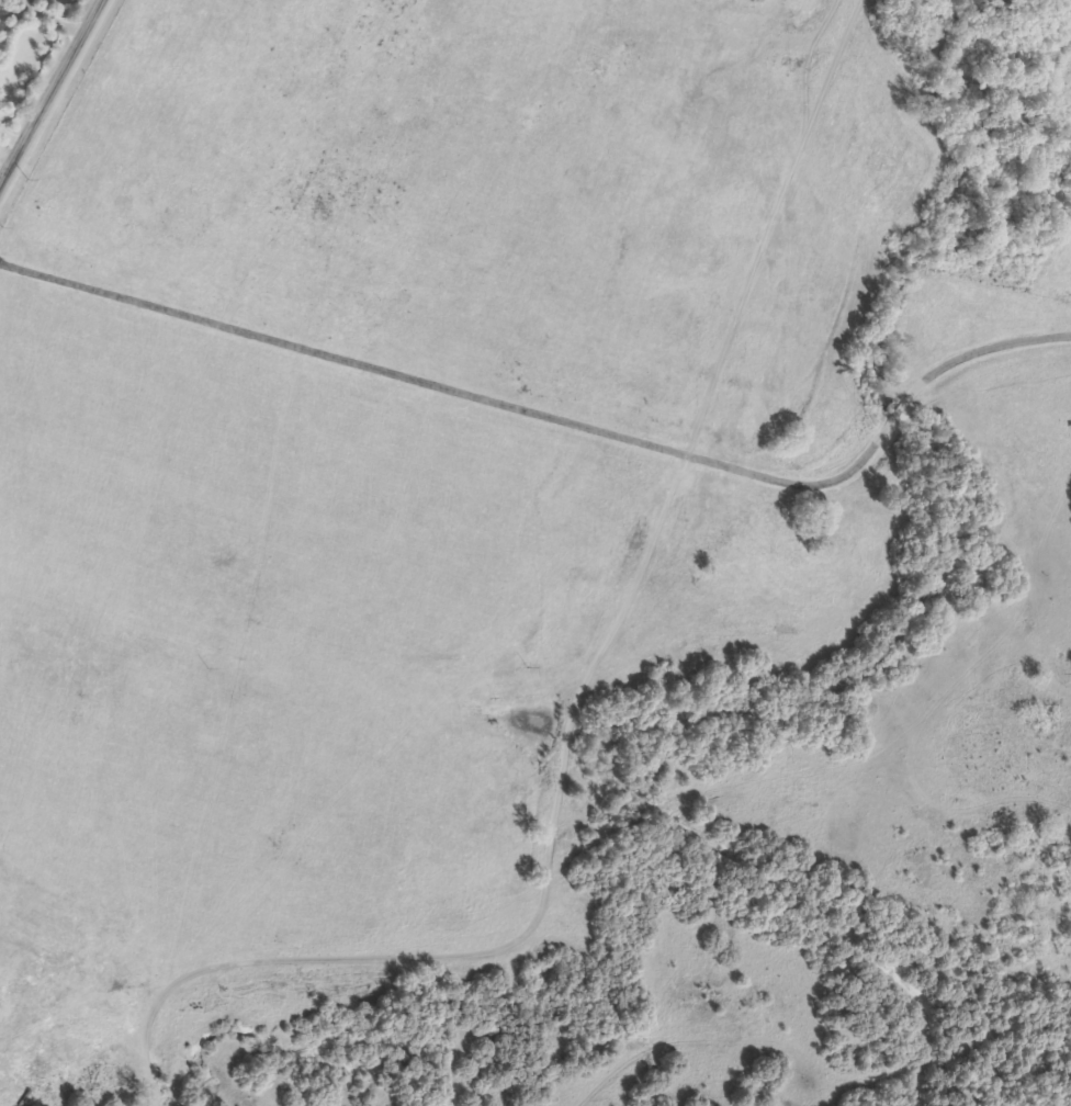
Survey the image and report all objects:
road: (50, 93)
road: (556, 420)

